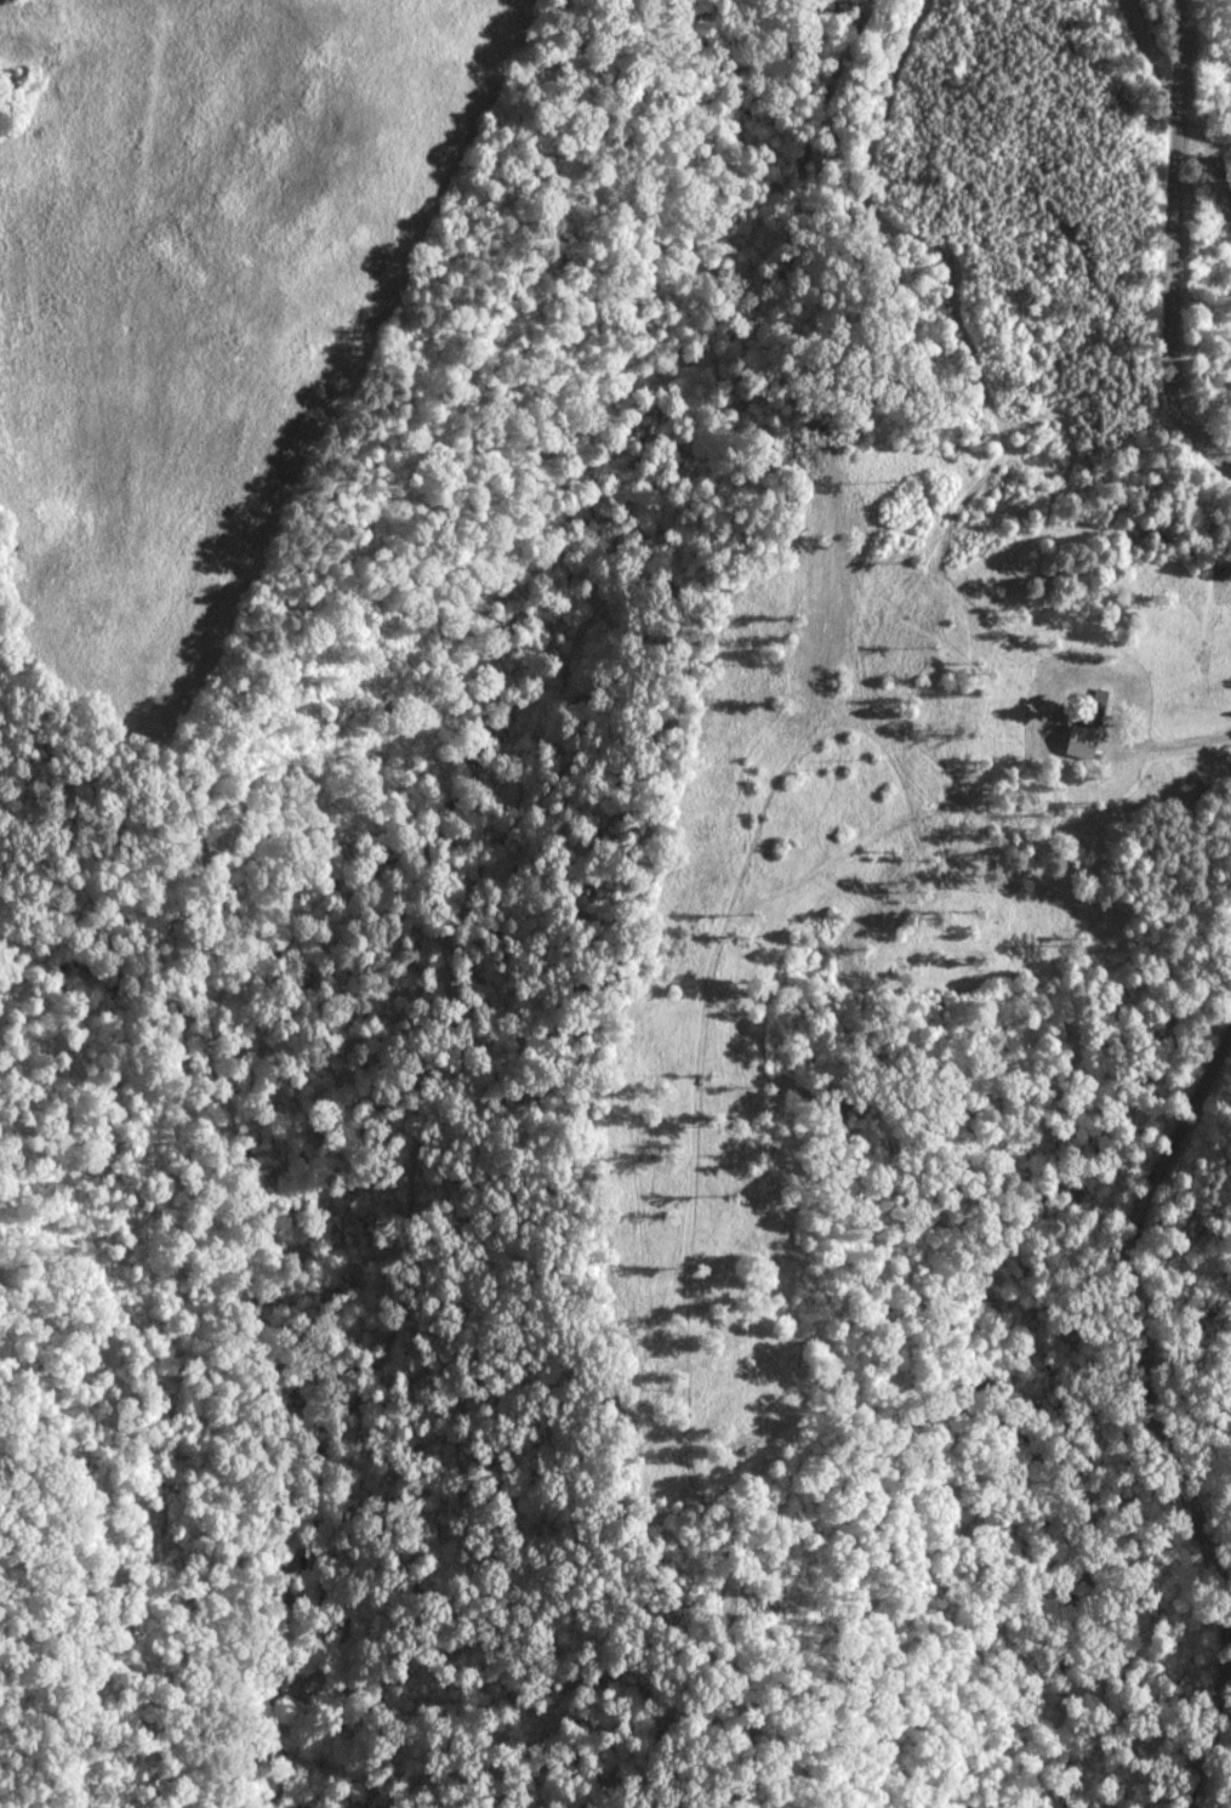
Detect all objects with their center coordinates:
road: (1170, 249)
building: (1096, 712)
road: (1201, 1252)

